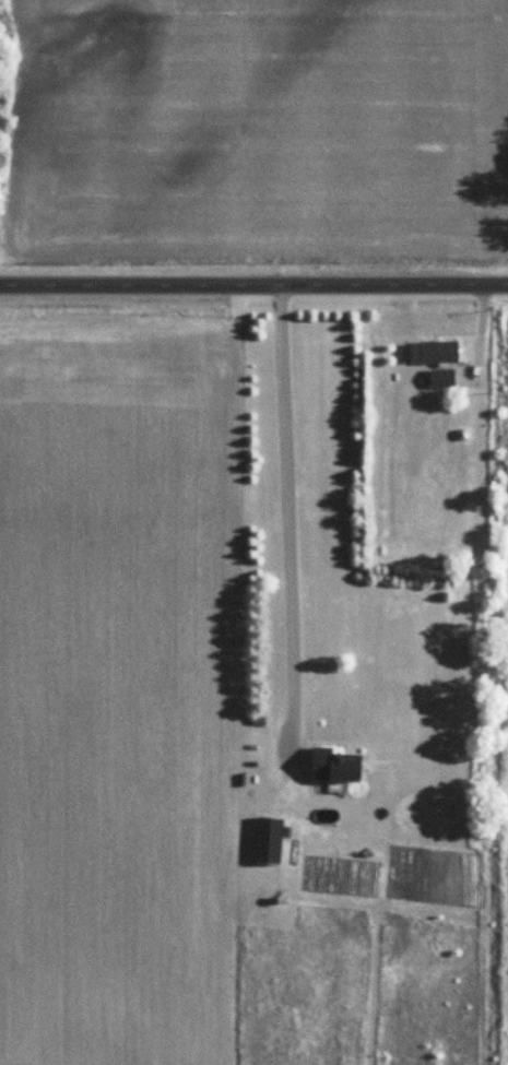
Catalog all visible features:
road: (253, 274)
building: (436, 352)
building: (442, 378)
road: (290, 508)
building: (334, 766)
building: (271, 840)

